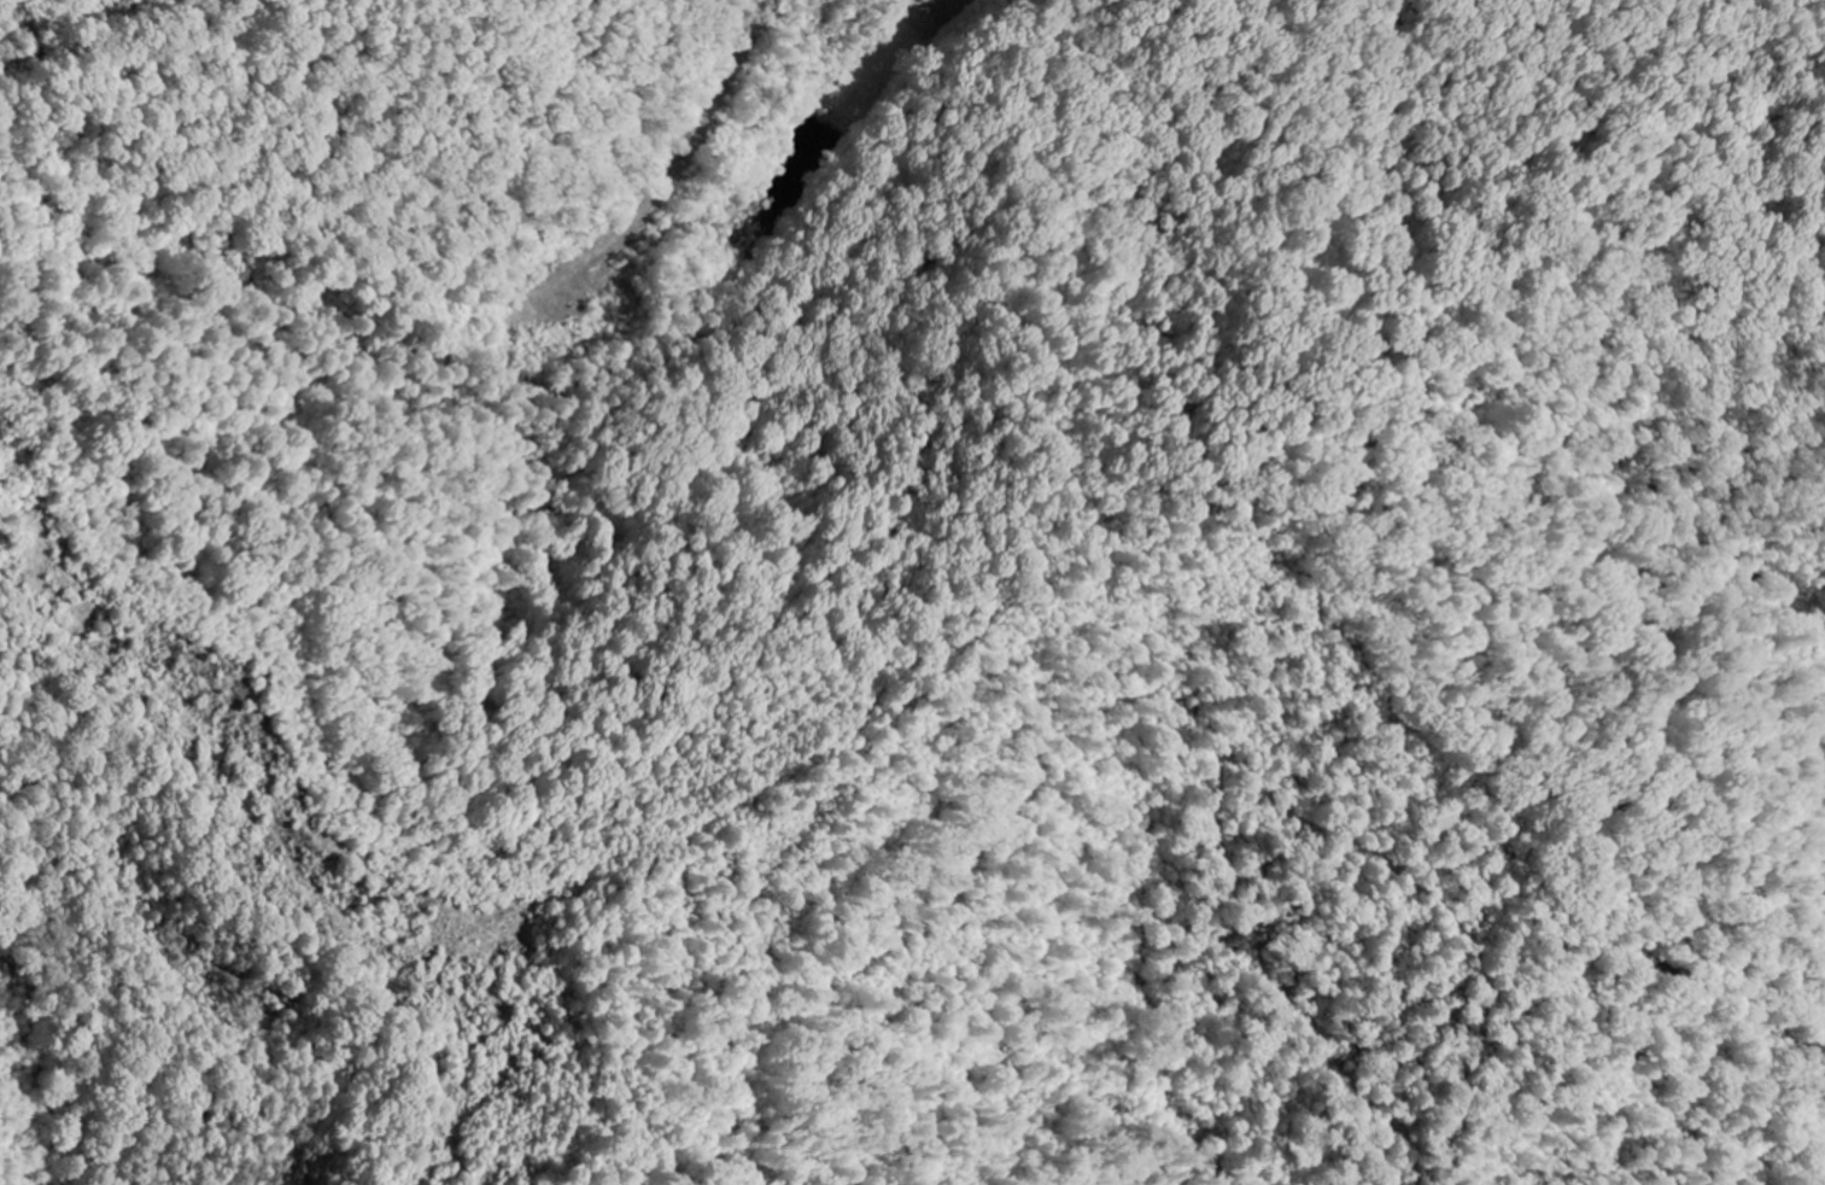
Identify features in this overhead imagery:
road: (1199, 830)

